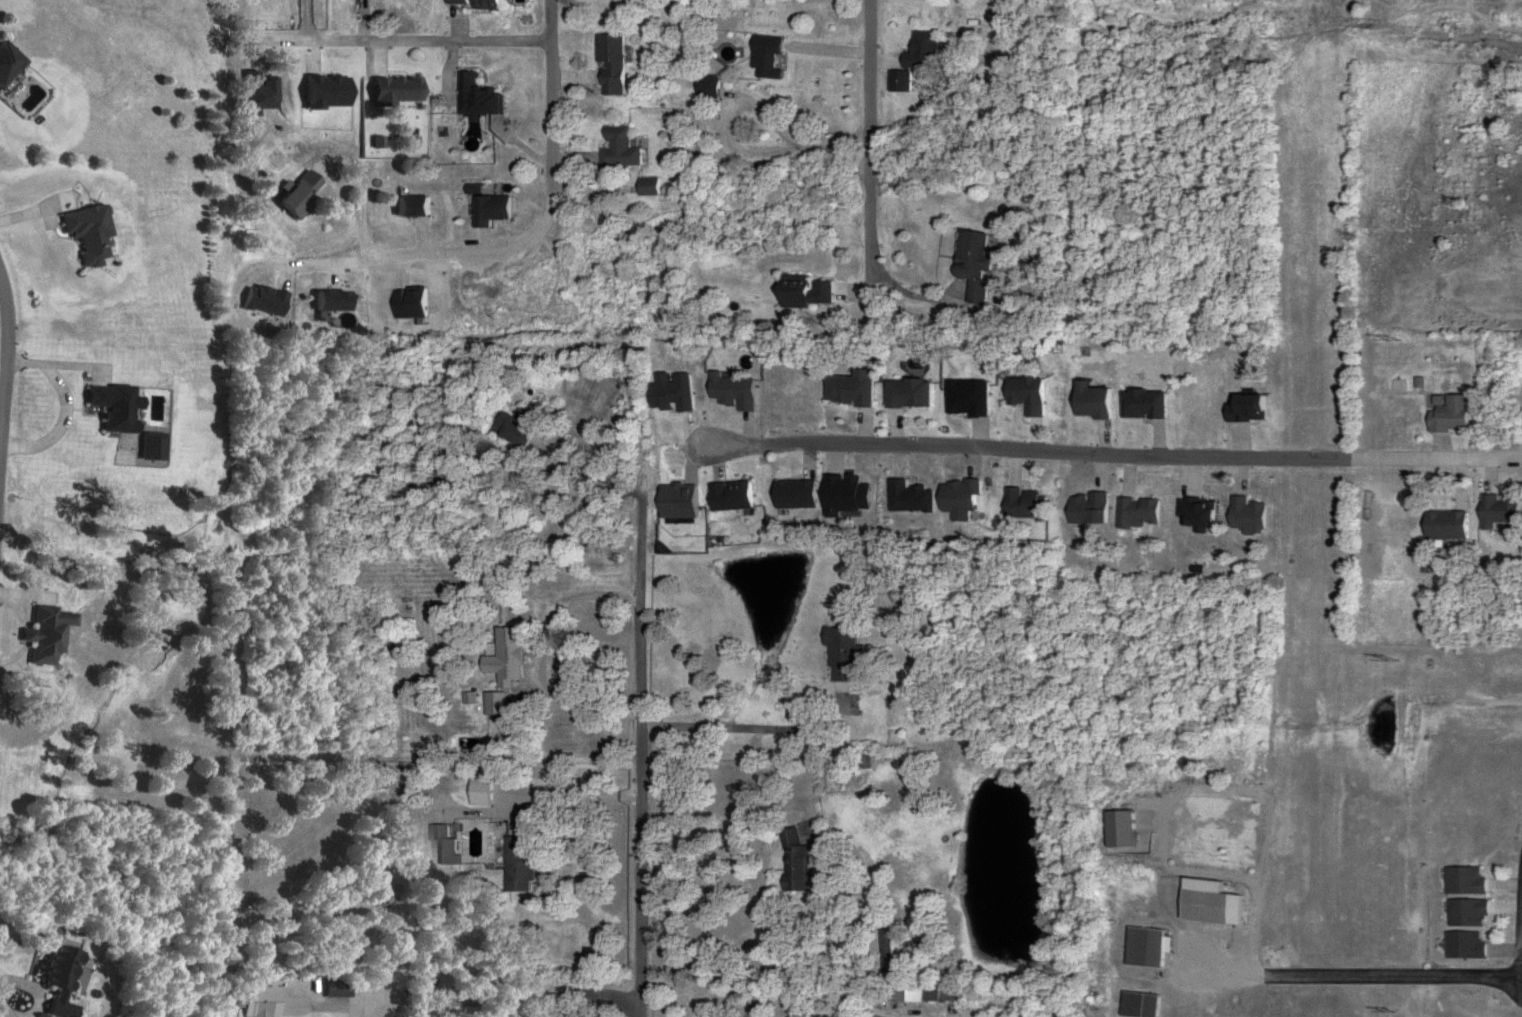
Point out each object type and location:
building: (483, 3)
road: (412, 43)
building: (917, 52)
building: (762, 57)
building: (10, 63)
building: (612, 64)
building: (703, 87)
building: (260, 92)
road: (551, 101)
road: (872, 139)
road: (835, 146)
building: (615, 149)
road: (762, 152)
road: (451, 186)
building: (644, 187)
building: (304, 193)
building: (417, 206)
building: (494, 210)
road: (213, 222)
building: (91, 232)
building: (970, 266)
building: (791, 284)
road: (63, 328)
road: (6, 371)
building: (118, 408)
building: (525, 427)
road: (1001, 450)
road: (1406, 461)
building: (452, 481)
building: (1021, 506)
road: (1291, 506)
building: (1442, 526)
building: (49, 635)
building: (839, 654)
building: (517, 660)
building: (505, 705)
road: (756, 729)
road: (644, 750)
building: (492, 793)
road: (574, 795)
road: (736, 809)
building: (791, 861)
building: (515, 863)
building: (1462, 880)
building: (1202, 906)
building: (1464, 912)
building: (1461, 945)
building: (1141, 947)
road: (1518, 959)
building: (62, 976)
road: (1412, 982)
building: (338, 988)
building: (927, 990)
road: (509, 1002)
building: (1136, 1004)

